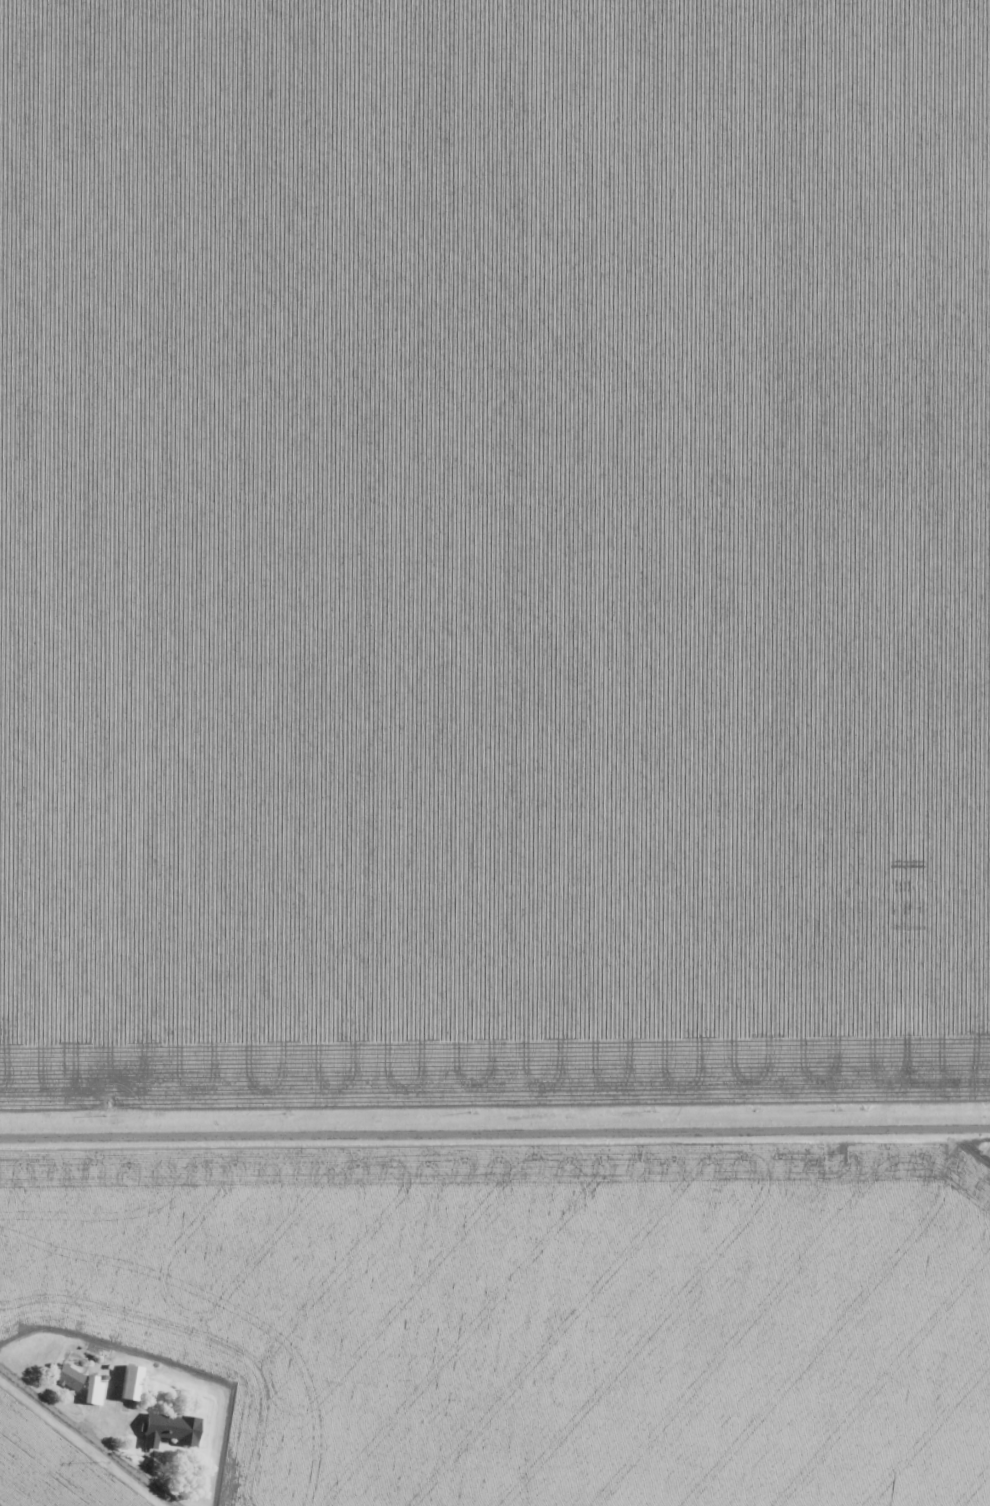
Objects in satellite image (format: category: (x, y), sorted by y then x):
road: (495, 1124)
building: (68, 1377)
building: (131, 1383)
building: (94, 1391)
road: (98, 1429)
building: (170, 1430)

